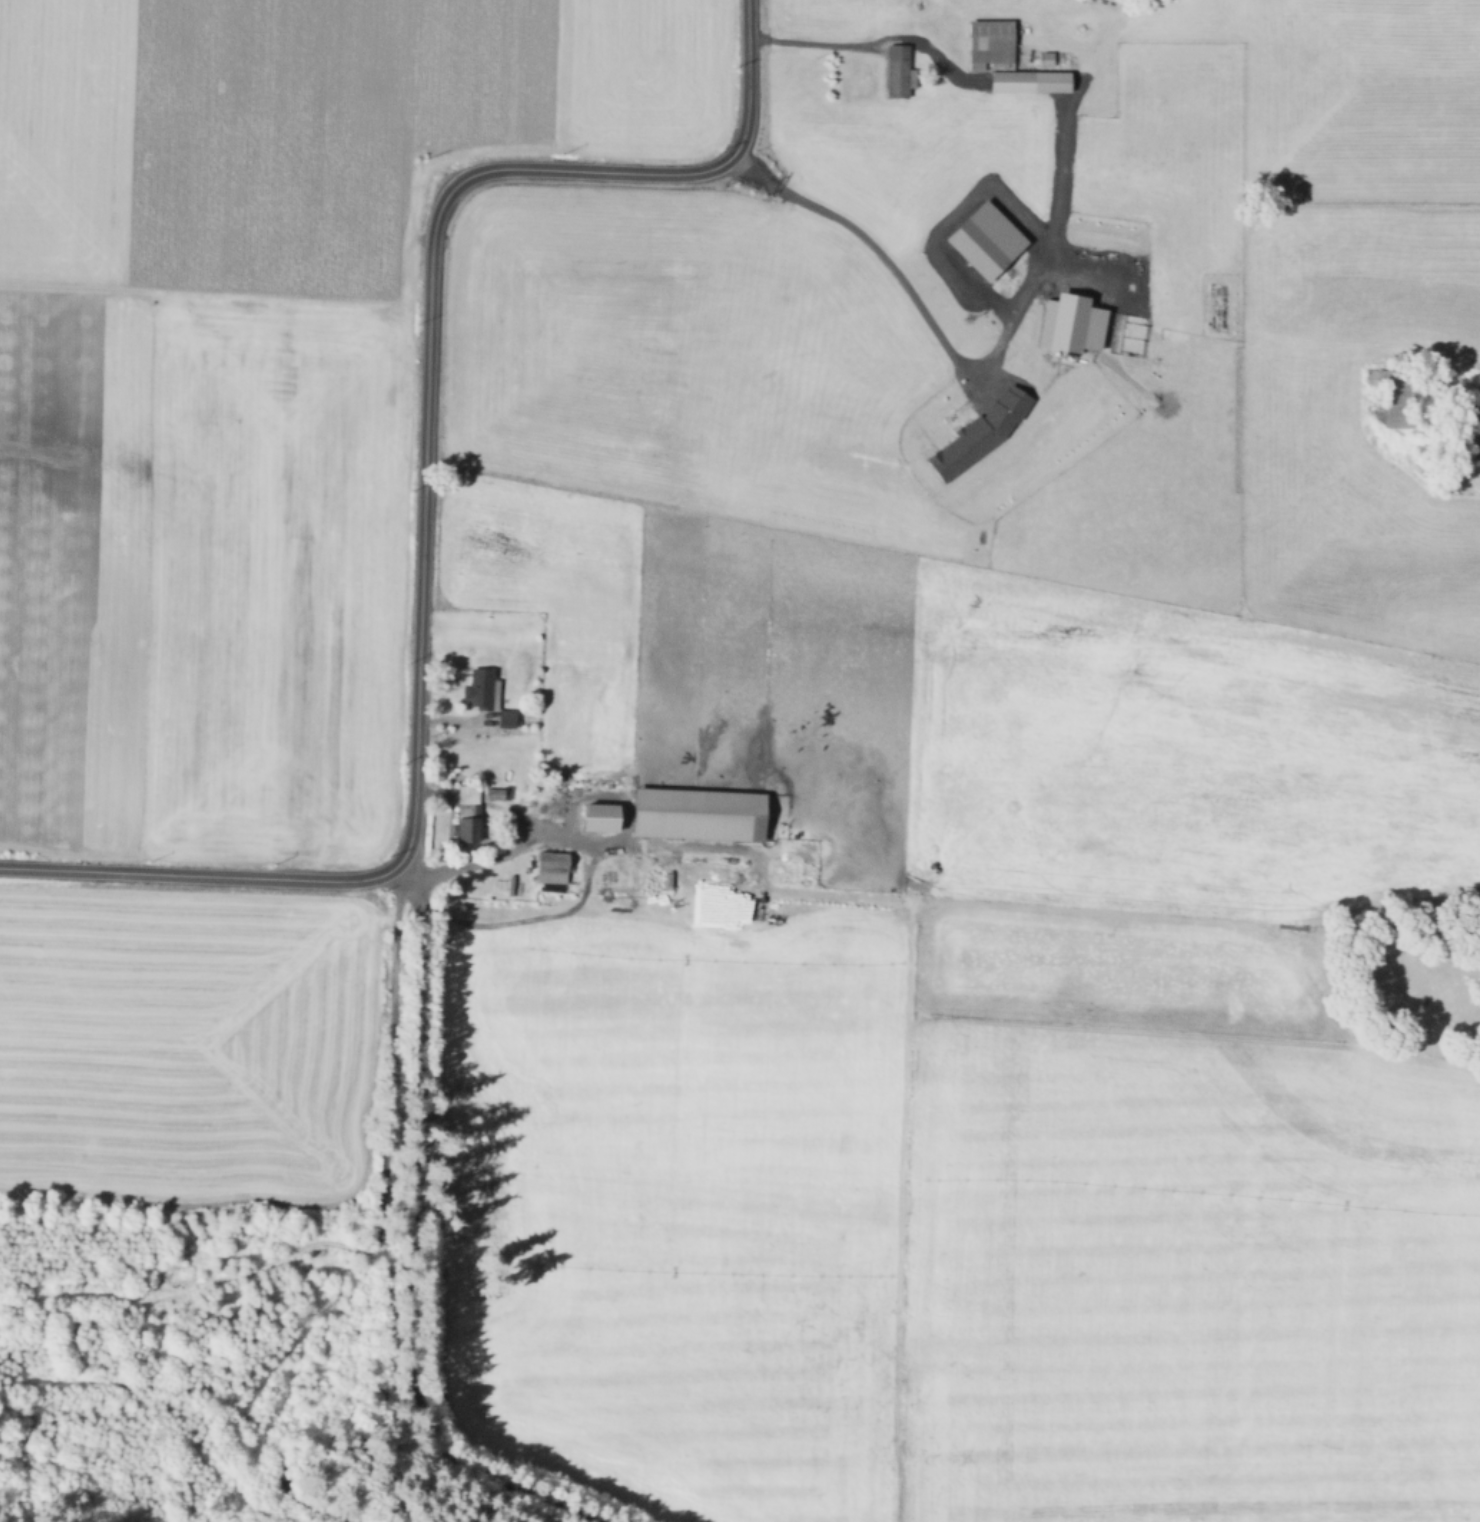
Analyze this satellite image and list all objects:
road: (872, 36)
building: (990, 46)
building: (1048, 60)
building: (897, 72)
building: (1030, 84)
building: (983, 239)
road: (228, 292)
building: (1068, 322)
road: (953, 356)
building: (1391, 397)
building: (980, 430)
road: (424, 502)
building: (482, 686)
building: (508, 718)
road: (454, 719)
building: (495, 793)
building: (470, 814)
building: (699, 814)
building: (601, 818)
road: (545, 824)
road: (533, 827)
building: (552, 867)
building: (723, 871)
building: (632, 874)
road: (564, 909)
road: (1079, 913)
crop: (947, 992)
road: (390, 1202)
road: (909, 1217)
road: (411, 1238)

